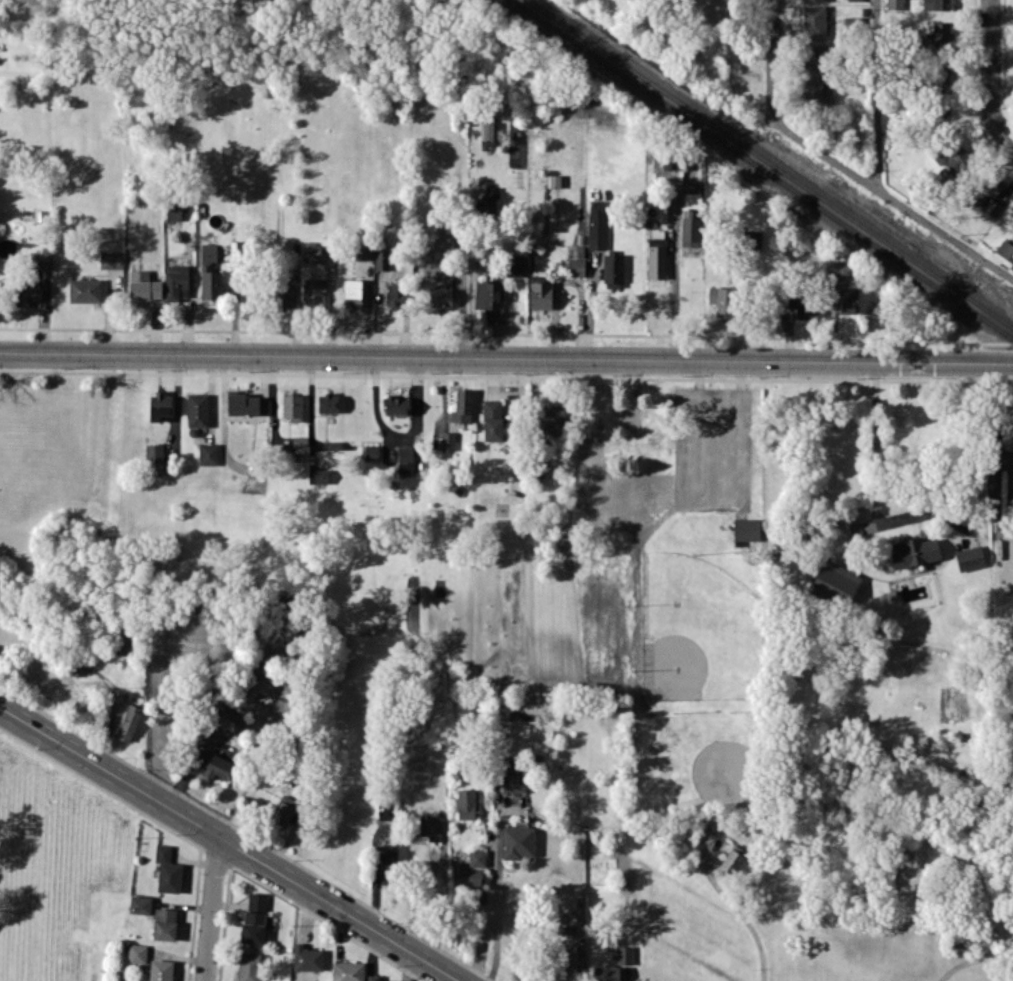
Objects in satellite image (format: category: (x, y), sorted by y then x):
building: (812, 0)
building: (894, 4)
building: (936, 4)
building: (709, 10)
building: (813, 20)
building: (941, 31)
road: (770, 58)
building: (813, 58)
building: (940, 73)
road: (990, 74)
building: (812, 89)
road: (877, 94)
building: (488, 131)
building: (662, 160)
building: (684, 162)
building: (958, 162)
railway: (769, 164)
railway: (761, 171)
building: (989, 189)
road: (891, 198)
building: (1011, 208)
building: (173, 211)
building: (597, 224)
building: (690, 231)
building: (443, 236)
building: (751, 239)
building: (362, 248)
building: (1005, 250)
building: (311, 251)
building: (656, 254)
building: (381, 258)
building: (111, 260)
building: (515, 264)
building: (575, 266)
building: (837, 268)
building: (613, 269)
building: (209, 273)
building: (176, 281)
building: (144, 285)
building: (25, 290)
building: (85, 290)
building: (313, 291)
building: (352, 293)
building: (282, 294)
building: (540, 295)
building: (440, 296)
building: (393, 297)
building: (487, 297)
building: (847, 299)
building: (722, 300)
road: (674, 306)
building: (803, 306)
road: (506, 358)
building: (328, 402)
building: (246, 404)
building: (159, 405)
building: (395, 405)
building: (462, 406)
building: (292, 407)
road: (715, 407)
building: (197, 409)
building: (551, 417)
building: (492, 420)
building: (300, 440)
building: (447, 440)
building: (371, 452)
building: (208, 453)
building: (405, 459)
building: (156, 460)
road: (998, 464)
building: (321, 476)
road: (874, 503)
building: (746, 529)
building: (913, 551)
building: (969, 557)
building: (836, 581)
building: (226, 718)
building: (129, 722)
building: (219, 763)
building: (515, 782)
building: (466, 803)
building: (284, 810)
building: (431, 829)
road: (230, 842)
building: (518, 842)
building: (162, 852)
building: (477, 857)
building: (731, 860)
building: (389, 864)
building: (466, 875)
building: (169, 876)
building: (257, 901)
building: (140, 904)
road: (210, 908)
road: (496, 912)
road: (741, 922)
building: (164, 923)
building: (253, 926)
building: (968, 939)
road: (480, 941)
building: (136, 952)
building: (624, 954)
building: (307, 957)
road: (973, 959)
building: (568, 960)
building: (248, 966)
building: (160, 970)
building: (348, 971)
building: (376, 978)

